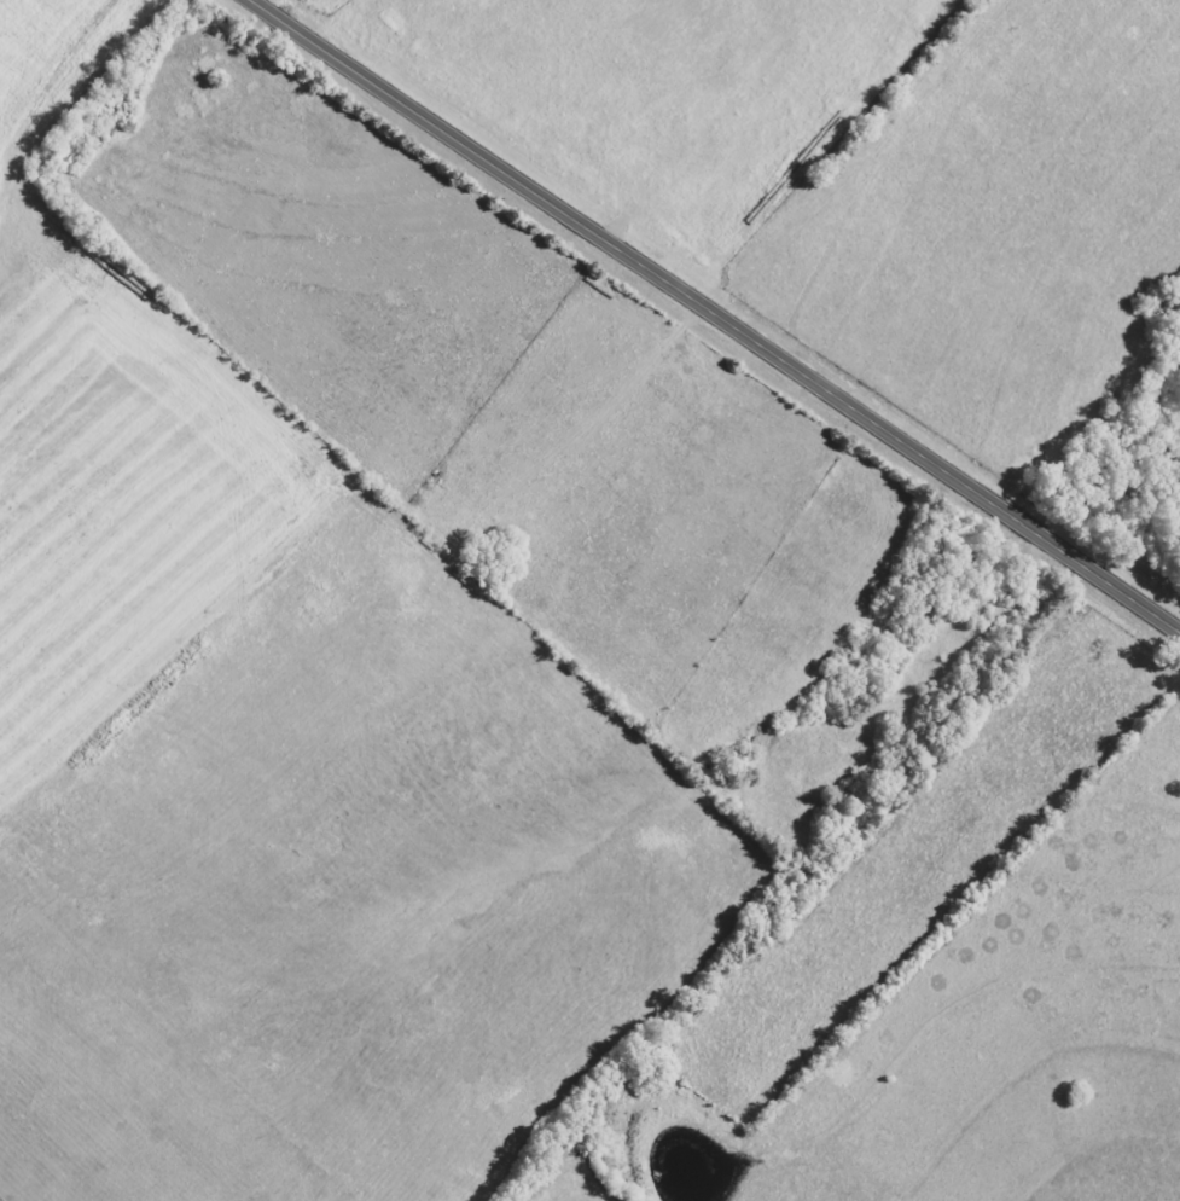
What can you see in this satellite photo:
road: (721, 312)

